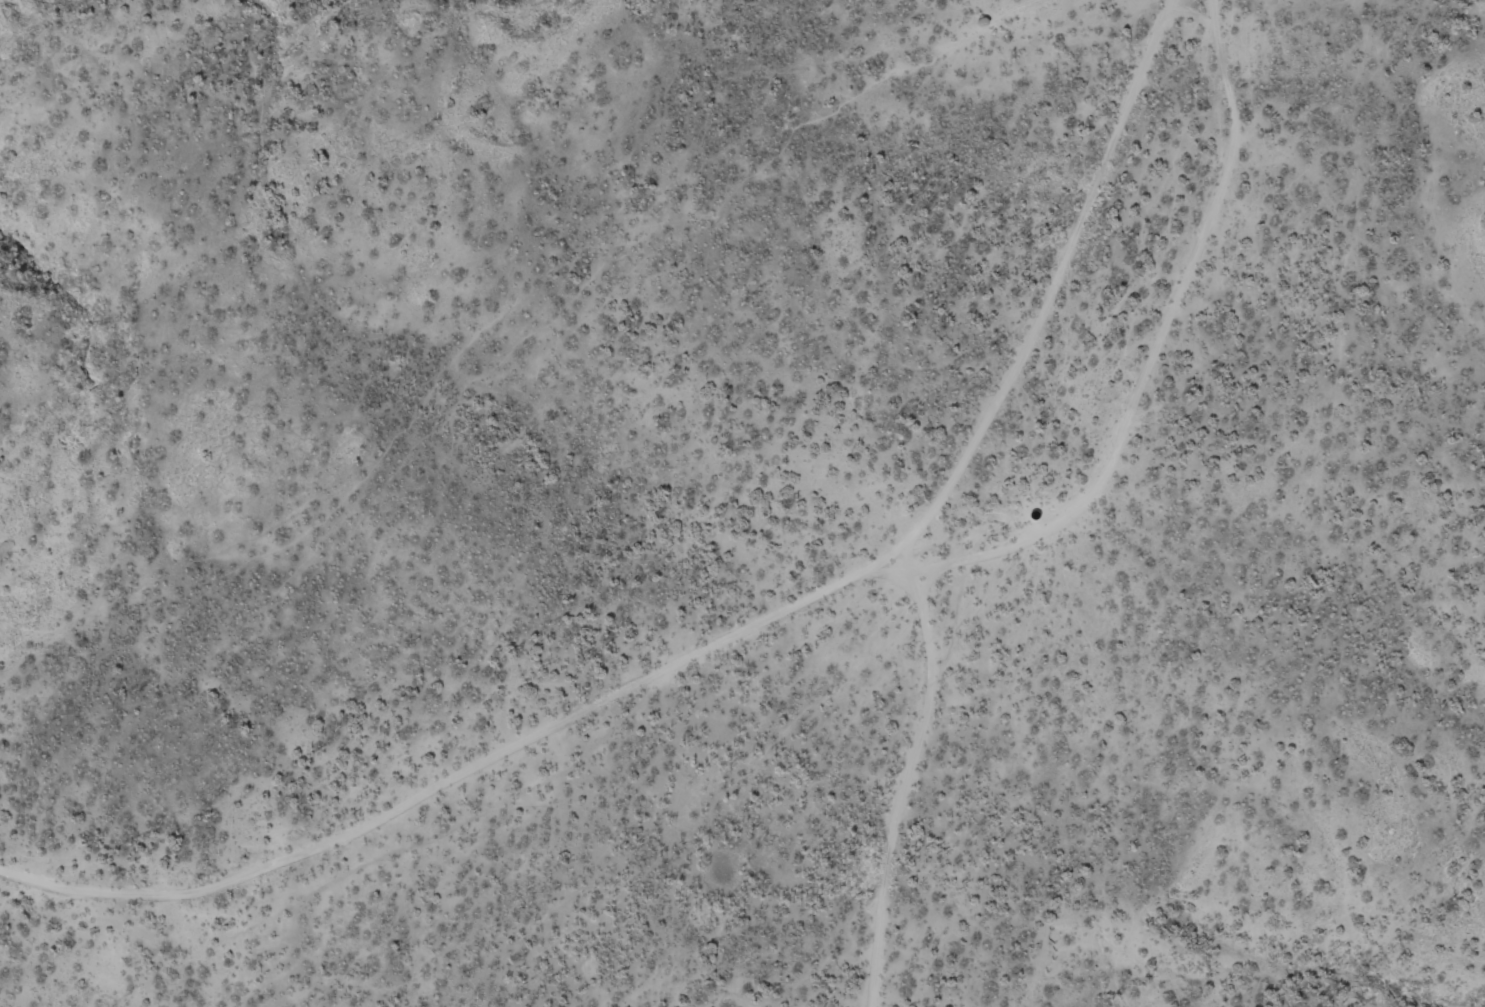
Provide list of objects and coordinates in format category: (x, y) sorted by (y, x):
road: (1098, 643)

